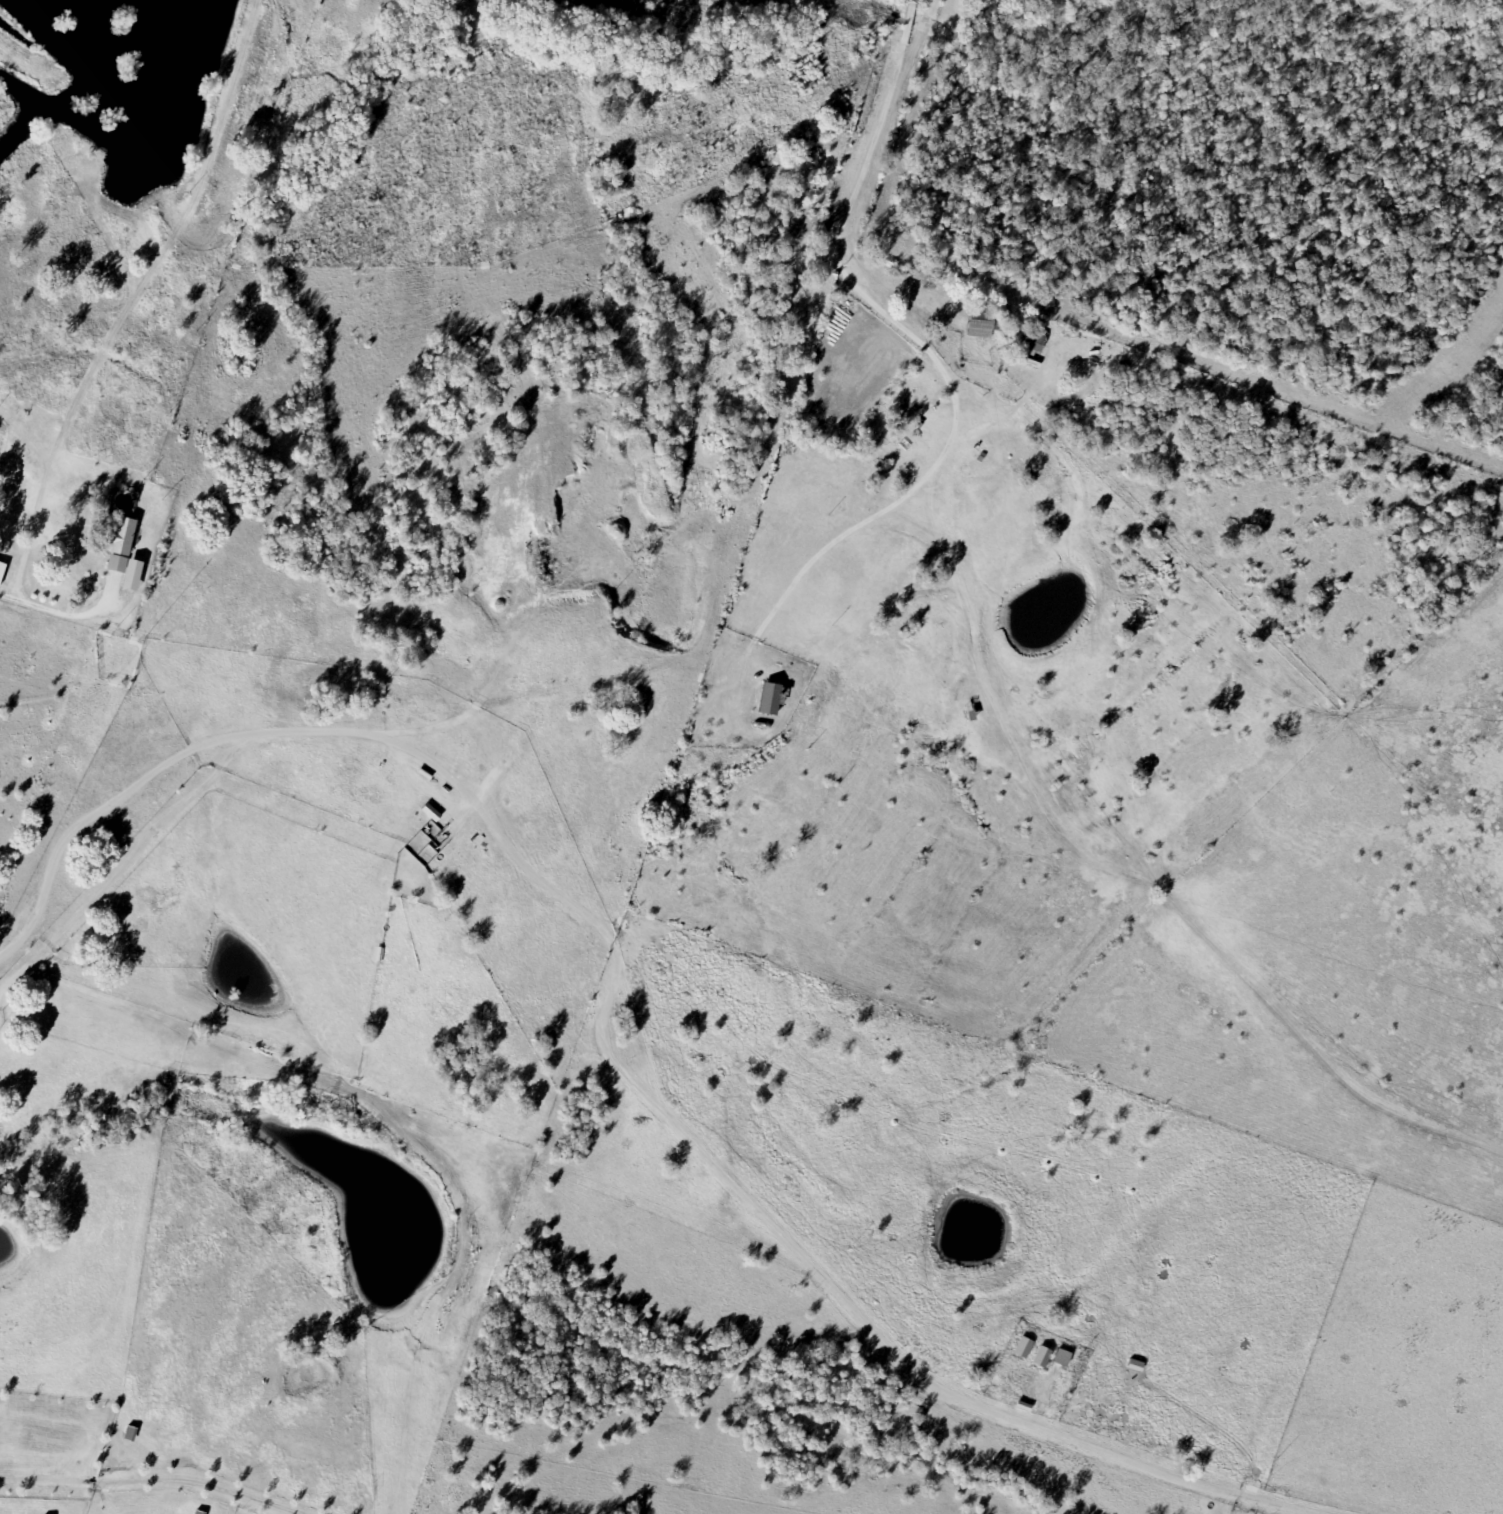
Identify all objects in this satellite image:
building: (978, 328)
building: (1033, 340)
building: (122, 553)
building: (1, 568)
road: (42, 594)
road: (441, 594)
road: (696, 651)
building: (768, 699)
road: (392, 786)
building: (1022, 1348)
building: (1040, 1357)

